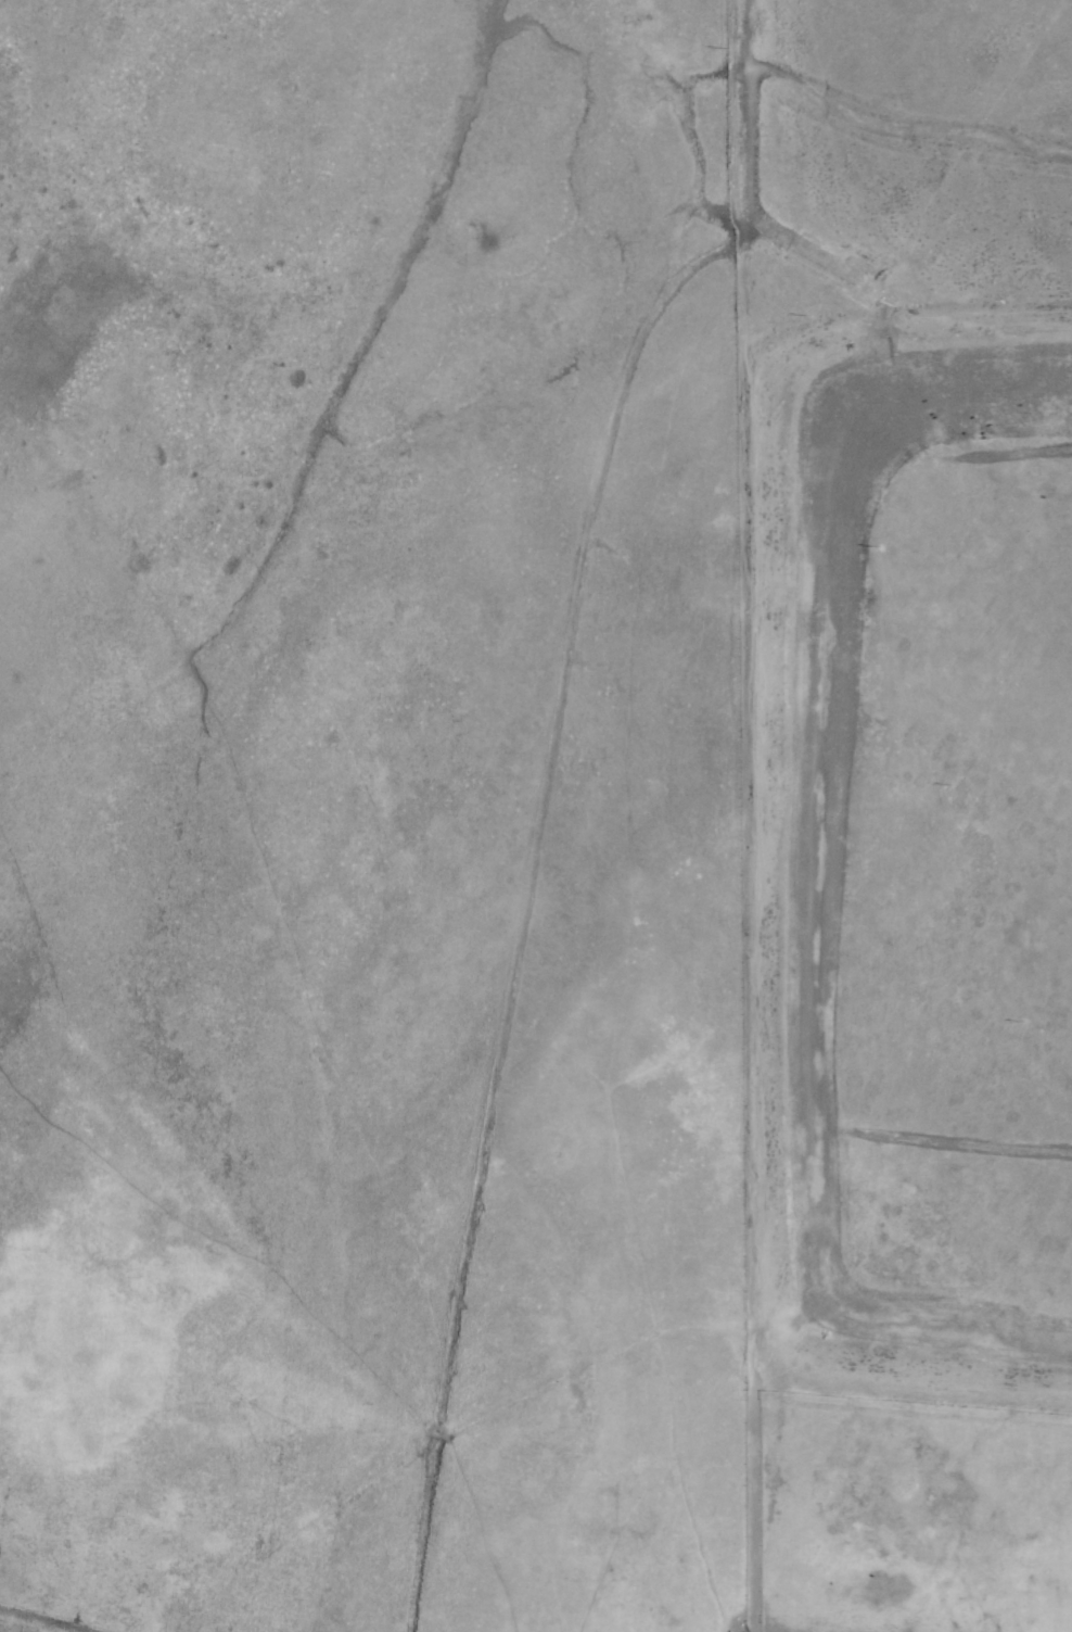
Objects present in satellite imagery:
crop: (427, 828)

